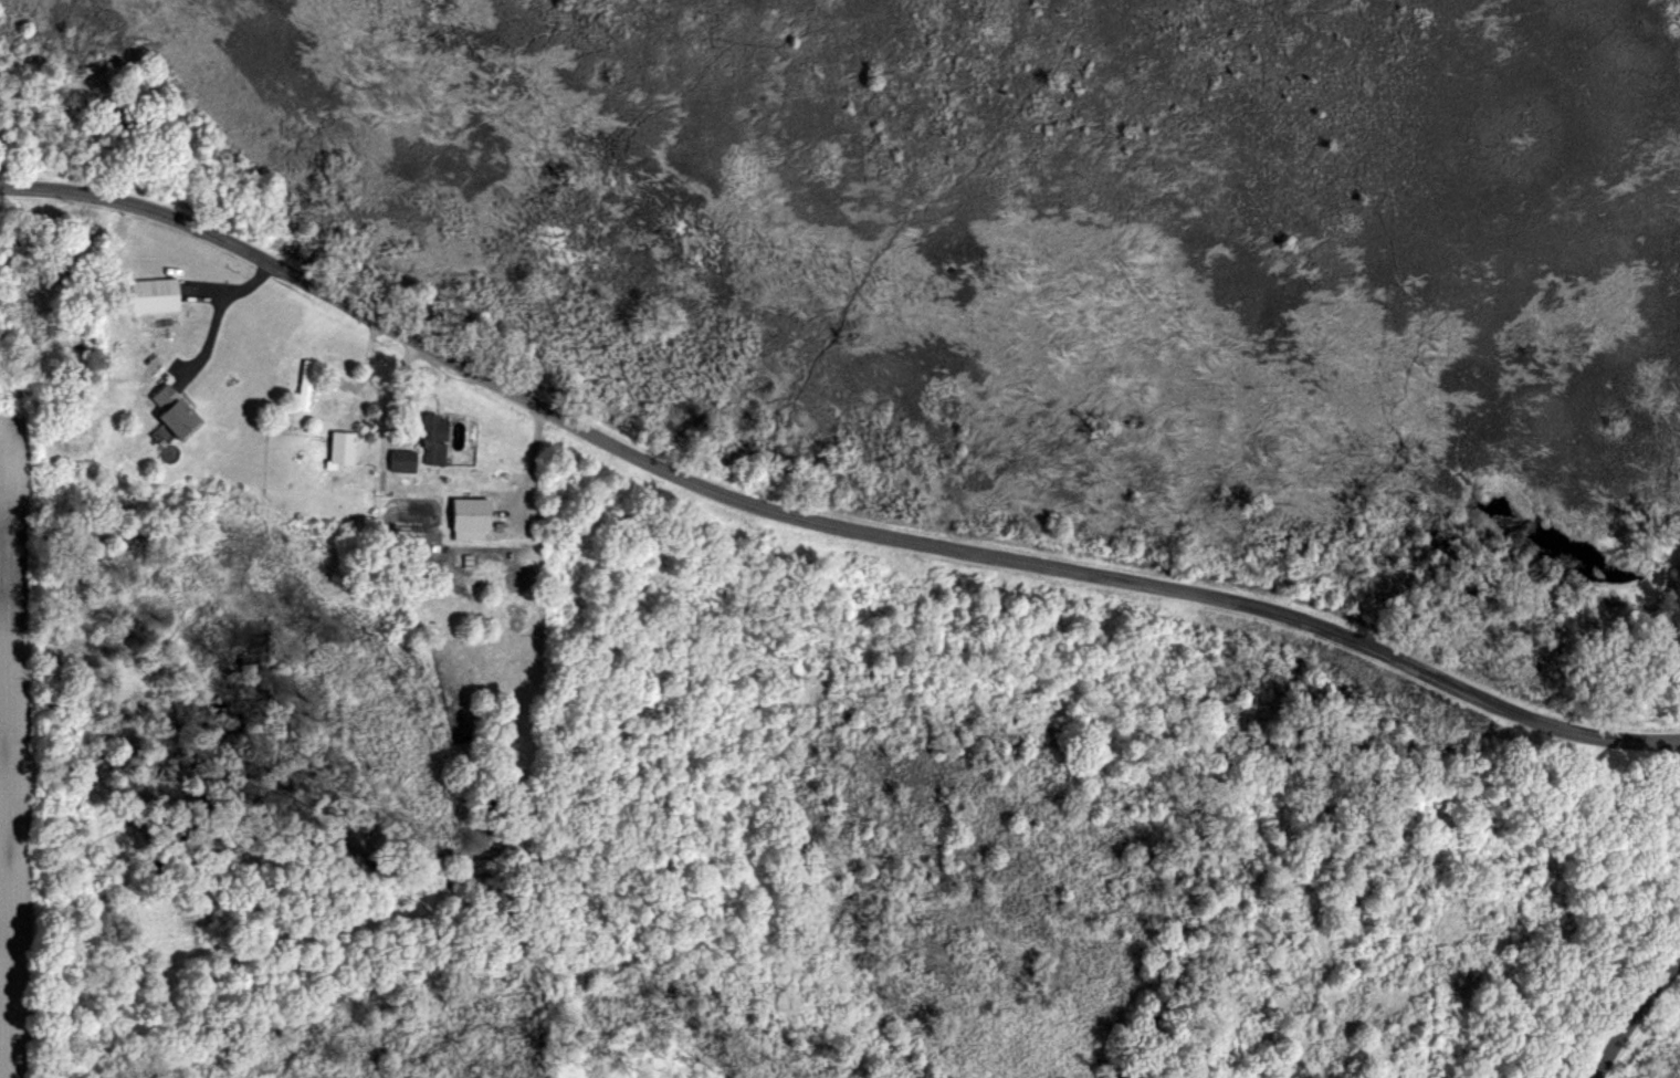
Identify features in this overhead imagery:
building: (157, 294)
road: (217, 315)
building: (307, 386)
building: (179, 414)
building: (438, 440)
building: (346, 448)
building: (406, 461)
building: (474, 514)
road: (820, 526)
road: (1634, 1019)

